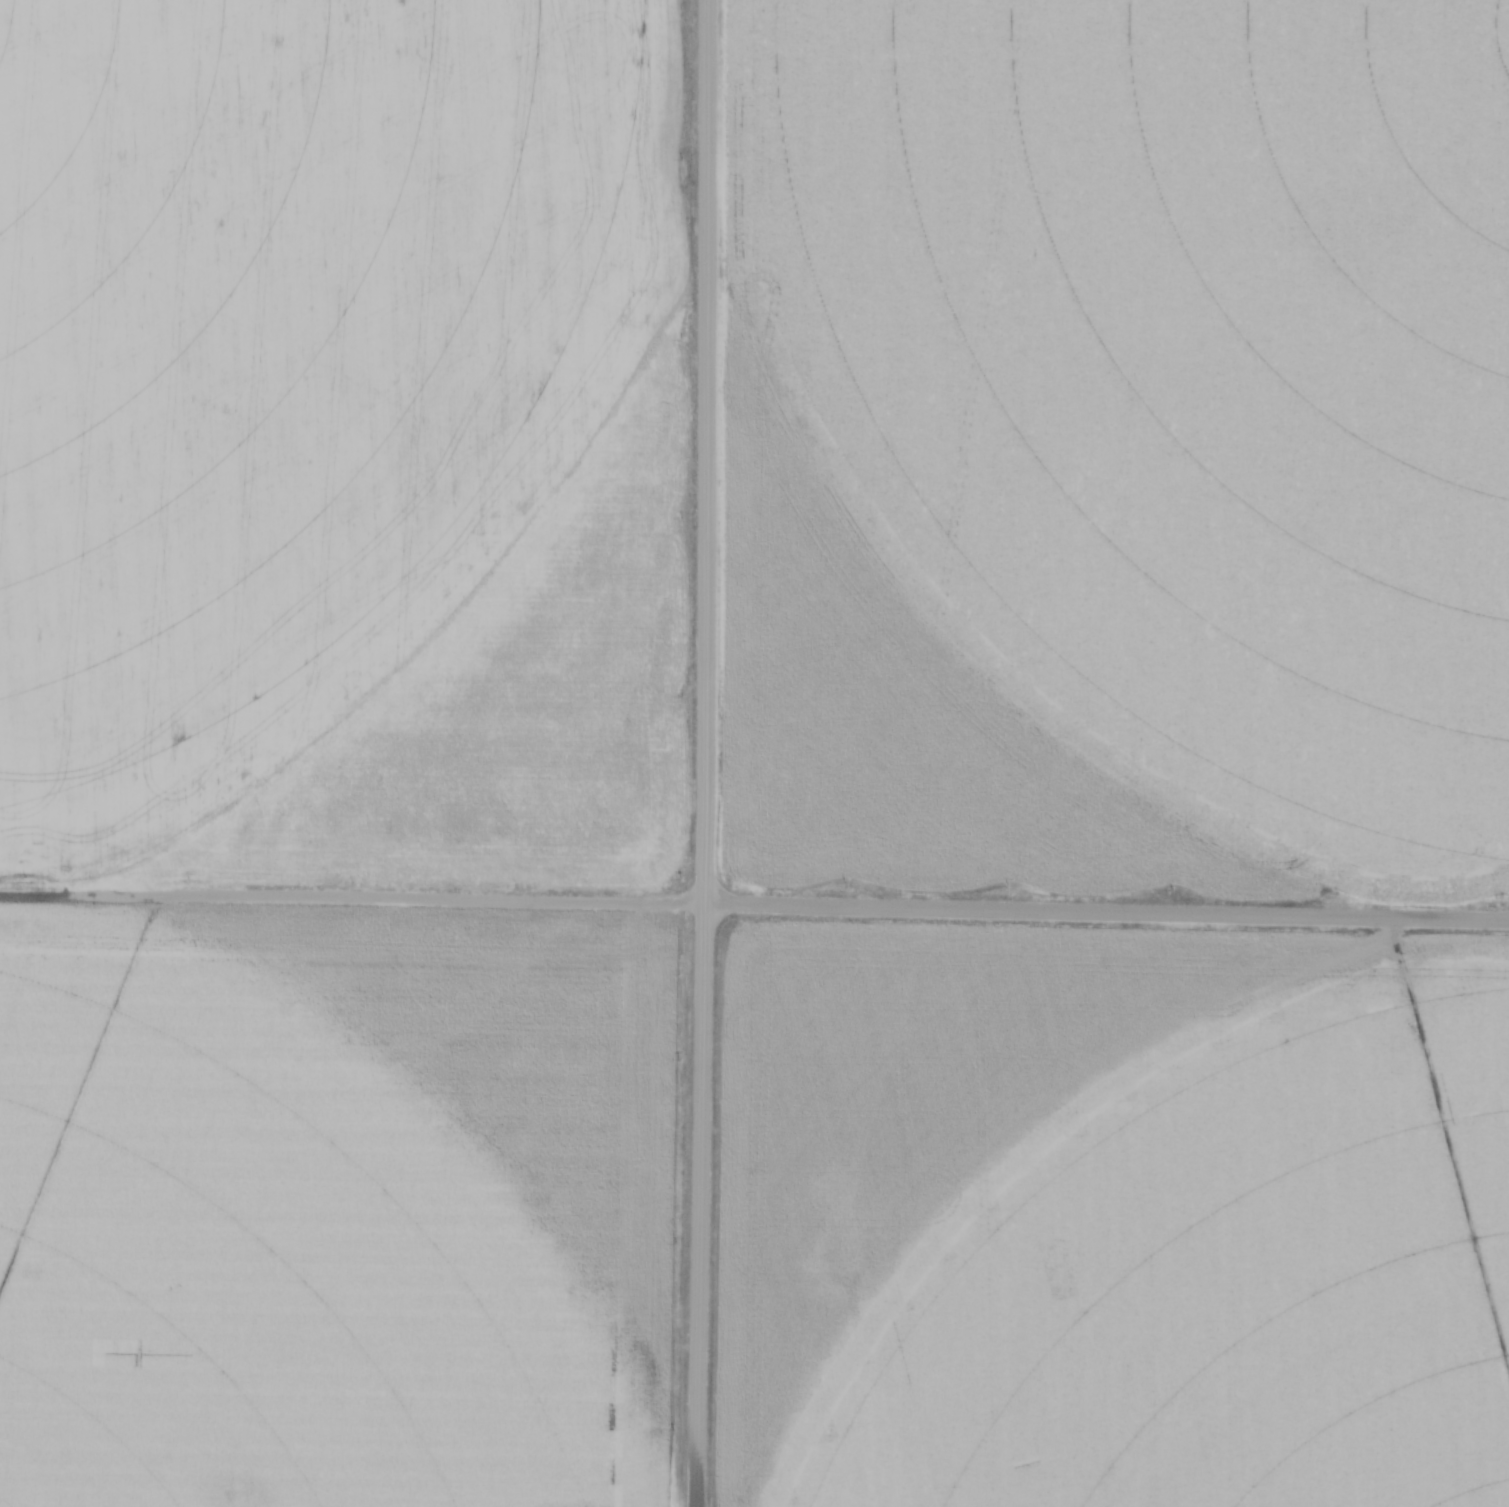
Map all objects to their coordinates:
crop: (342, 442)
crop: (1120, 454)
road: (706, 753)
road: (1107, 912)
crop: (339, 1206)
crop: (1111, 1218)

